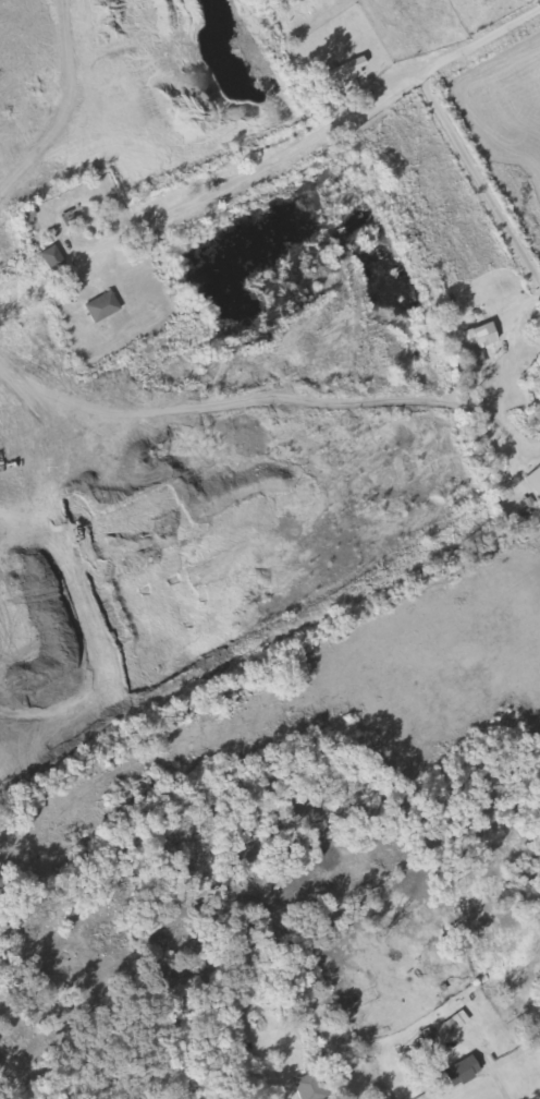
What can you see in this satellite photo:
building: (353, 67)
building: (5, 92)
road: (274, 157)
road: (478, 181)
building: (51, 258)
building: (101, 306)
building: (459, 1072)
building: (309, 1087)

